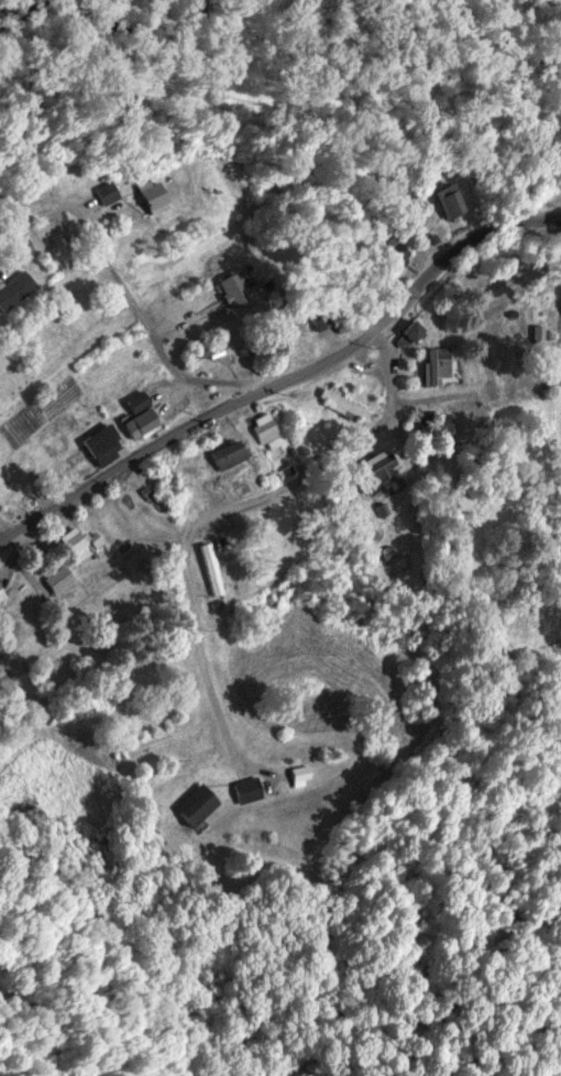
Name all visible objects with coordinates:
building: (106, 193)
building: (152, 195)
building: (448, 200)
building: (31, 238)
building: (388, 252)
building: (237, 286)
building: (319, 319)
road: (141, 332)
building: (409, 332)
building: (205, 348)
building: (113, 355)
building: (437, 365)
road: (288, 377)
building: (340, 404)
building: (137, 414)
building: (433, 426)
building: (263, 430)
building: (103, 446)
building: (227, 454)
building: (377, 470)
road: (218, 512)
building: (211, 569)
building: (249, 790)
building: (197, 805)

